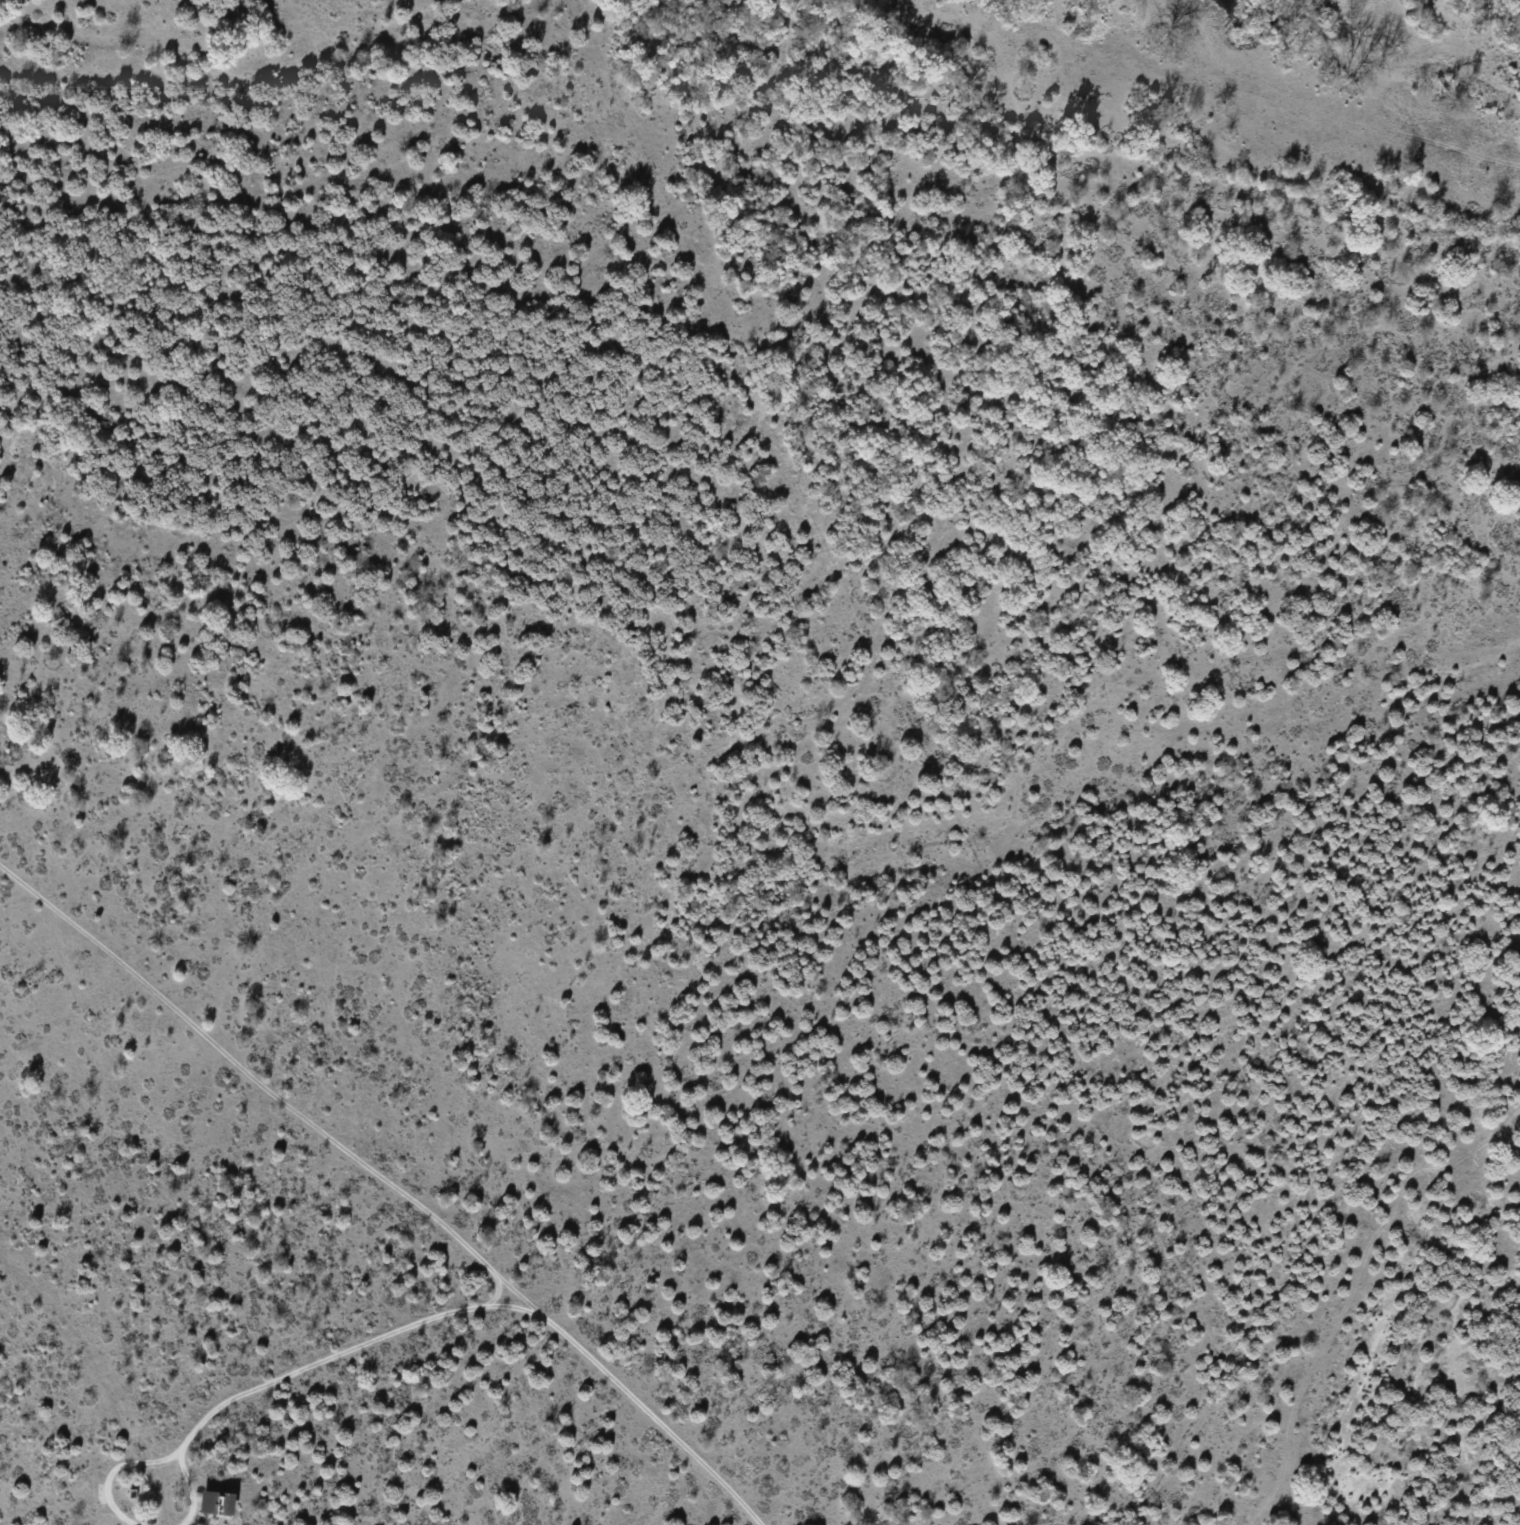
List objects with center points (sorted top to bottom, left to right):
road: (275, 1097)
road: (350, 1349)
road: (657, 1422)
road: (175, 1458)
road: (115, 1473)
road: (188, 1492)

